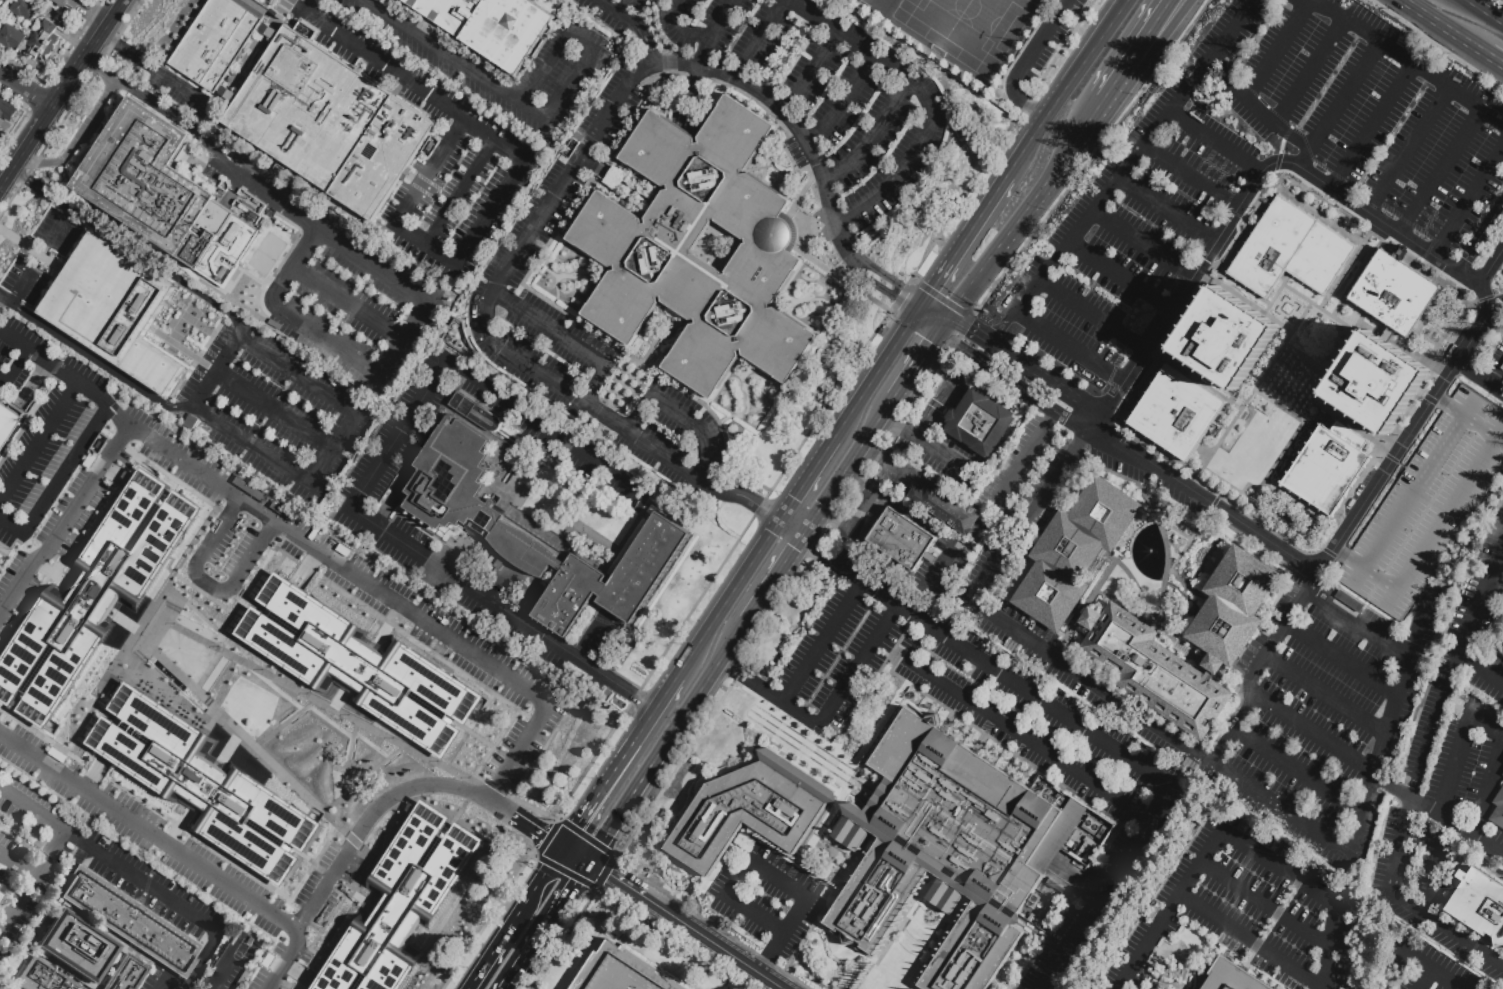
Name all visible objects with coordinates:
building: (48, 1)
building: (0, 2)
road: (1269, 3)
building: (71, 4)
road: (624, 7)
road: (1487, 10)
building: (26, 11)
parking lot: (611, 11)
road: (634, 25)
building: (491, 27)
park: (968, 27)
road: (679, 28)
road: (1448, 29)
road: (713, 30)
road: (583, 36)
road: (104, 37)
road: (659, 37)
road: (758, 38)
road: (1043, 38)
park: (987, 39)
parking lot: (1049, 39)
building: (12, 40)
building: (217, 40)
building: (44, 44)
road: (1243, 45)
road: (1137, 50)
road: (1277, 51)
road: (85, 53)
road: (1150, 53)
road: (1057, 56)
road: (1402, 58)
road: (456, 60)
road: (87, 62)
road: (1498, 62)
road: (808, 69)
road: (1311, 73)
road: (49, 74)
road: (688, 74)
road: (161, 75)
road: (410, 79)
road: (1066, 88)
road: (1249, 89)
parking lot: (825, 90)
road: (24, 92)
road: (925, 96)
road: (842, 100)
road: (1004, 100)
road: (1180, 100)
road: (147, 101)
road: (1021, 101)
road: (1262, 102)
road: (1340, 105)
road: (1258, 109)
parking lot: (1365, 109)
road: (788, 113)
building: (7, 114)
building: (327, 125)
road: (1372, 127)
road: (1293, 130)
road: (1286, 133)
road: (872, 137)
road: (76, 140)
road: (24, 145)
road: (1281, 146)
road: (1407, 150)
road: (1209, 156)
road: (1091, 157)
road: (1278, 162)
road: (1222, 165)
road: (1206, 169)
road: (1220, 171)
road: (1235, 173)
road: (1331, 173)
road: (1441, 173)
road: (1192, 175)
road: (1219, 178)
road: (1046, 181)
road: (256, 187)
road: (1335, 188)
road: (457, 192)
building: (160, 196)
road: (1228, 199)
road: (1467, 201)
road: (1167, 210)
road: (1232, 211)
road: (1091, 214)
road: (1425, 214)
road: (1436, 220)
road: (1428, 221)
road: (1406, 222)
road: (1431, 228)
road: (65, 229)
road: (1395, 231)
parking lot: (1127, 233)
road: (1480, 237)
road: (965, 239)
road: (1141, 245)
road: (129, 246)
road: (424, 248)
road: (1427, 249)
building: (636, 250)
building: (1291, 251)
road: (1187, 257)
road: (295, 267)
road: (1490, 267)
road: (1179, 269)
parking lot: (1501, 270)
road: (1119, 277)
road: (1186, 280)
road: (891, 282)
road: (1167, 284)
traffic signals: (932, 288)
road: (410, 289)
road: (1292, 289)
road: (23, 290)
road: (970, 290)
road: (884, 293)
building: (1394, 293)
road: (939, 297)
traffic signals: (894, 299)
road: (6, 300)
road: (351, 302)
road: (919, 308)
road: (936, 310)
building: (111, 312)
road: (1092, 315)
road: (484, 320)
road: (1358, 323)
road: (1372, 324)
road: (927, 325)
road: (551, 327)
road: (945, 327)
road: (1002, 330)
road: (1423, 330)
traffic signals: (967, 331)
road: (957, 335)
road: (327, 340)
road: (19, 343)
road: (987, 343)
traffic signals: (931, 348)
road: (1068, 348)
road: (24, 354)
road: (1169, 355)
parking lot: (1496, 360)
road: (1116, 361)
road: (48, 363)
road: (101, 364)
road: (219, 366)
road: (1329, 367)
road: (917, 368)
road: (11, 372)
building: (1228, 374)
road: (1479, 376)
road: (69, 377)
road: (873, 377)
road: (1498, 379)
building: (1377, 382)
road: (1013, 384)
road: (1111, 384)
road: (597, 386)
road: (87, 389)
road: (1315, 389)
road: (1062, 391)
road: (1224, 393)
road: (101, 398)
road: (937, 406)
road: (276, 410)
building: (474, 412)
road: (636, 414)
road: (1238, 416)
road: (1465, 418)
building: (980, 422)
road: (893, 423)
building: (9, 424)
road: (1305, 424)
building: (1357, 425)
road: (543, 427)
road: (699, 428)
road: (396, 436)
road: (596, 438)
road: (1381, 442)
road: (40, 445)
road: (335, 449)
road: (938, 452)
building: (503, 461)
road: (1149, 463)
parking lot: (1117, 465)
road: (66, 466)
road: (851, 467)
road: (894, 467)
building: (1327, 467)
road: (1012, 470)
parking lot: (1029, 475)
road: (807, 478)
parking lot: (1068, 479)
road: (860, 482)
road: (723, 489)
road: (1414, 492)
parking lot: (1179, 498)
road: (946, 500)
road: (757, 505)
building: (946, 506)
building: (1424, 506)
parking garage: (1424, 506)
road: (861, 509)
road: (1305, 511)
road: (1265, 514)
road: (914, 518)
road: (835, 519)
road: (63, 521)
road: (1445, 521)
road: (12, 522)
road: (795, 524)
building: (488, 528)
road: (1261, 537)
building: (901, 539)
fountain: (1150, 550)
building: (1072, 552)
road: (8, 554)
road: (884, 561)
road: (940, 567)
road: (1365, 569)
road: (1498, 573)
road: (778, 577)
road: (208, 585)
road: (370, 588)
road: (479, 594)
building: (94, 596)
road: (729, 597)
road: (1358, 624)
road: (1468, 626)
road: (821, 644)
building: (1120, 644)
building: (1502, 653)
road: (1341, 659)
building: (359, 665)
road: (856, 666)
road: (1325, 694)
road: (631, 696)
road: (767, 697)
road: (1265, 703)
road: (643, 727)
road: (1084, 728)
road: (1012, 730)
road: (1234, 731)
road: (873, 734)
road: (668, 742)
road: (1459, 747)
road: (1198, 755)
building: (1502, 760)
road: (1299, 774)
building: (1502, 774)
building: (204, 784)
road: (1489, 788)
road: (402, 793)
road: (24, 804)
building: (1497, 808)
building: (751, 810)
road: (834, 811)
road: (587, 812)
road: (1439, 817)
traffic signals: (578, 826)
road: (60, 828)
traffic signals: (545, 836)
road: (1401, 838)
parking lot: (1439, 838)
road: (1234, 842)
road: (732, 847)
road: (175, 849)
building: (960, 850)
parking lot: (1385, 850)
road: (576, 855)
road: (17, 863)
road: (1437, 865)
parking lot: (1416, 872)
traffic signals: (607, 876)
road: (138, 879)
road: (612, 879)
road: (737, 879)
road: (29, 883)
traffic signals: (572, 886)
building: (0, 887)
road: (567, 893)
road: (920, 898)
building: (1, 900)
building: (402, 902)
building: (507, 903)
road: (527, 905)
building: (1479, 905)
road: (1266, 906)
road: (932, 914)
road: (794, 917)
road: (953, 918)
building: (134, 924)
road: (565, 935)
road: (706, 942)
road: (1251, 943)
building: (79, 948)
park: (240, 949)
road: (769, 955)
road: (204, 956)
road: (526, 957)
road: (870, 960)
road: (1032, 961)
parking lot: (1425, 963)
road: (221, 968)
road: (1432, 969)
building: (621, 971)
building: (128, 975)
road: (481, 976)
building: (1231, 977)
building: (42, 978)
road: (1425, 979)
road: (176, 985)
building: (303, 987)
road: (165, 988)

